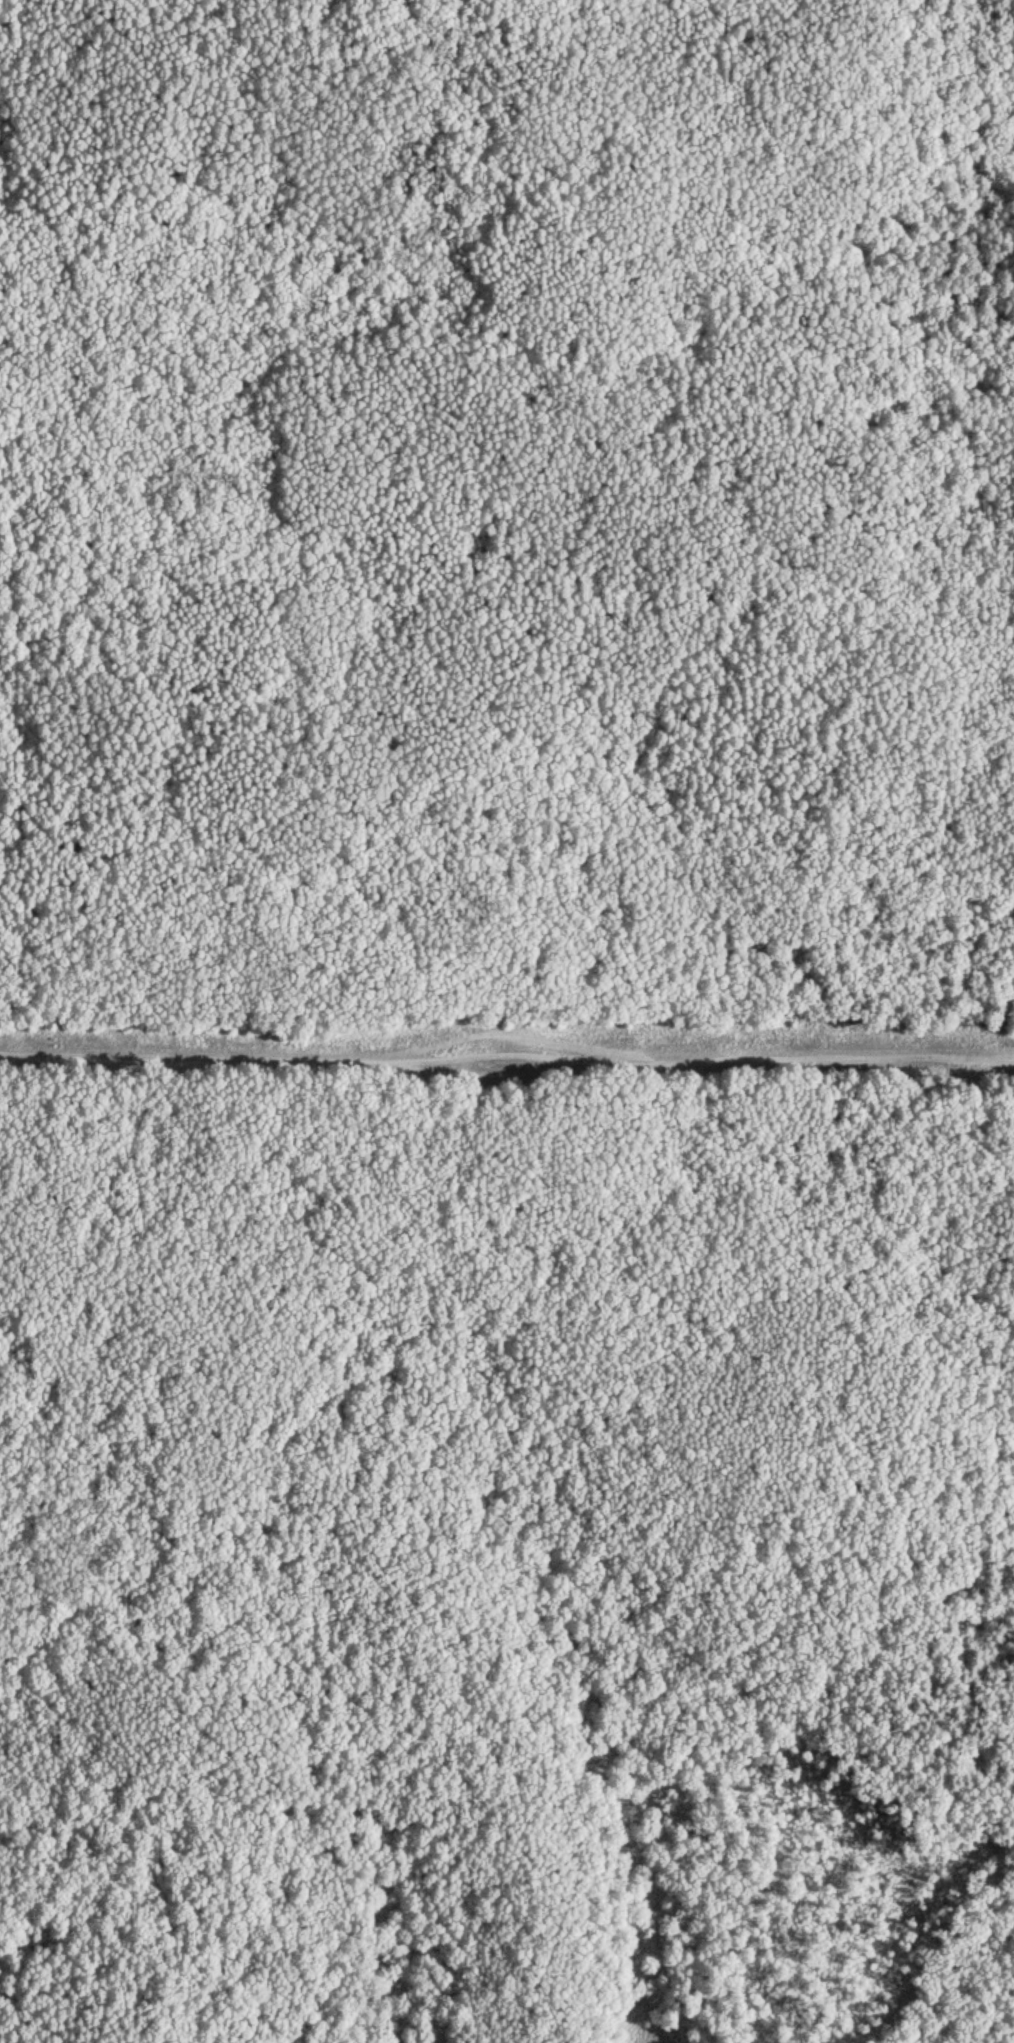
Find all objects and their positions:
road: (507, 1060)

